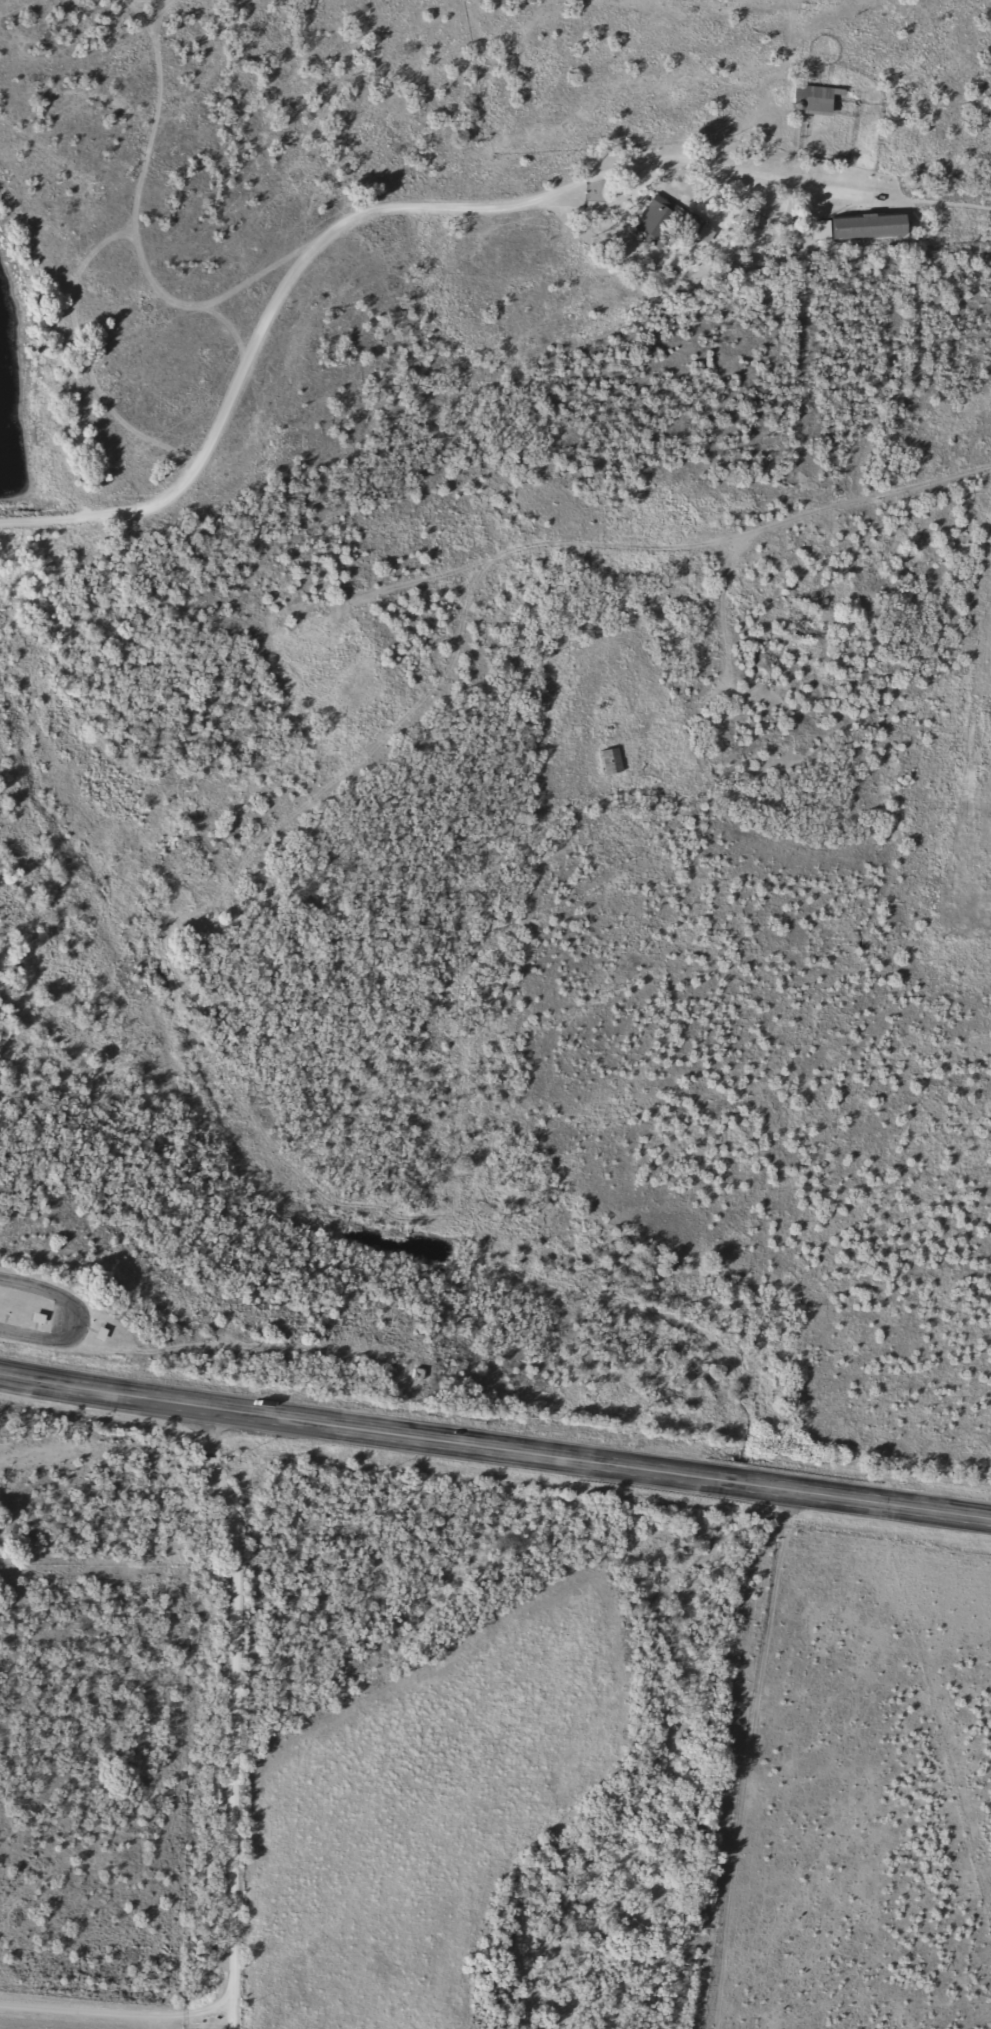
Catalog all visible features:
building: (809, 99)
road: (420, 206)
building: (671, 221)
building: (864, 226)
road: (70, 1315)
road: (495, 1455)
road: (234, 1820)

